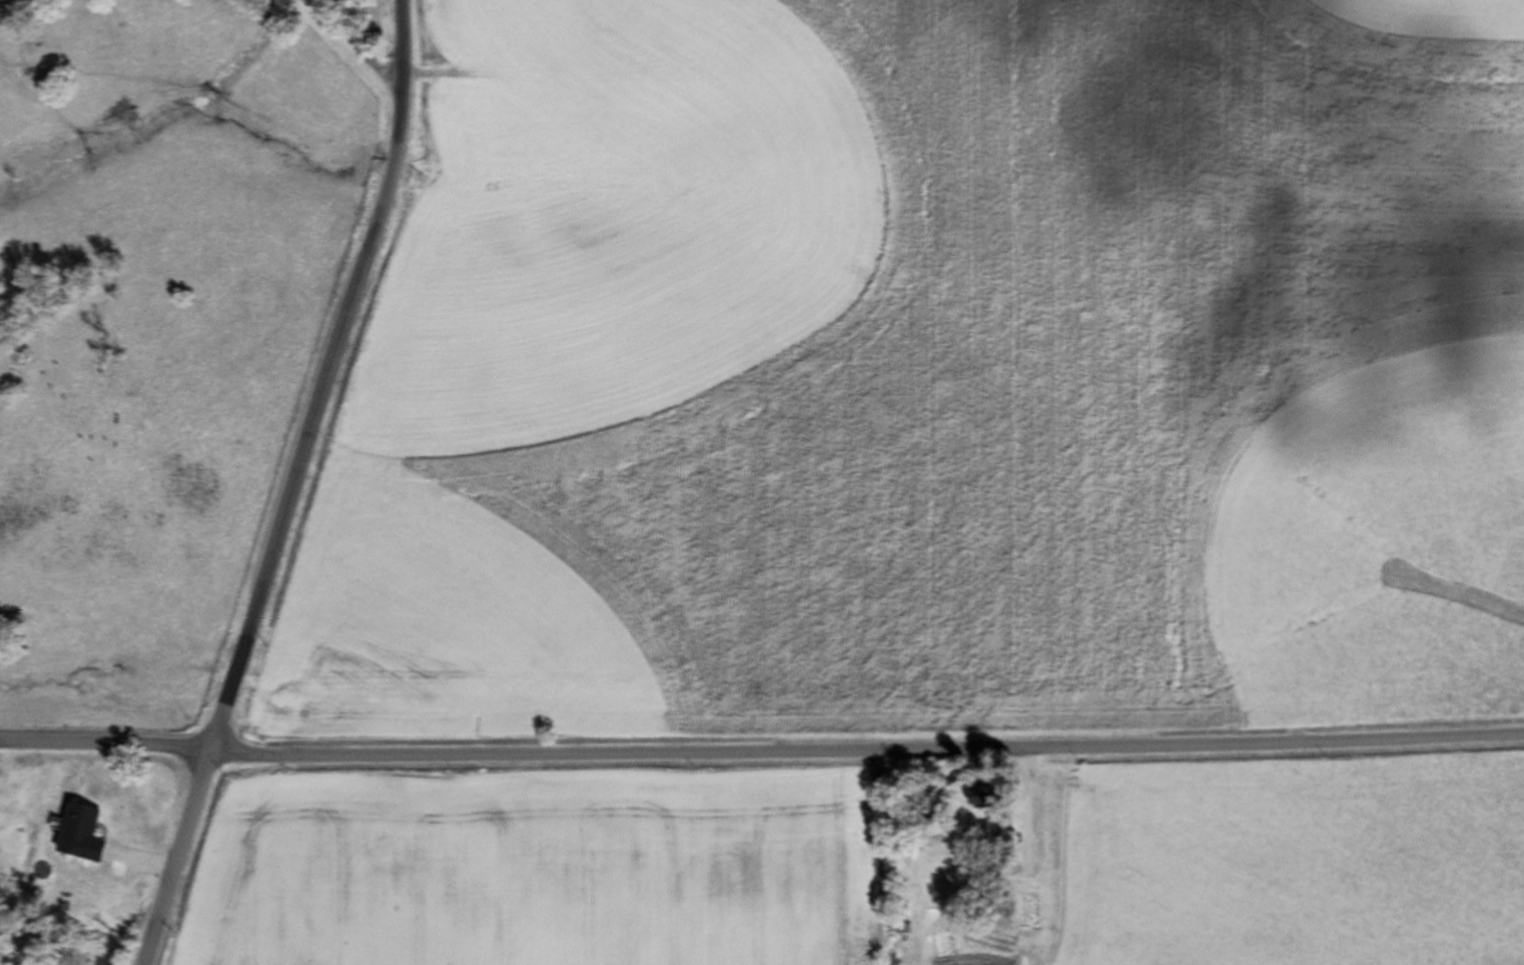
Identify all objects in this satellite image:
road: (340, 37)
building: (34, 75)
road: (288, 484)
road: (762, 750)
building: (981, 797)

